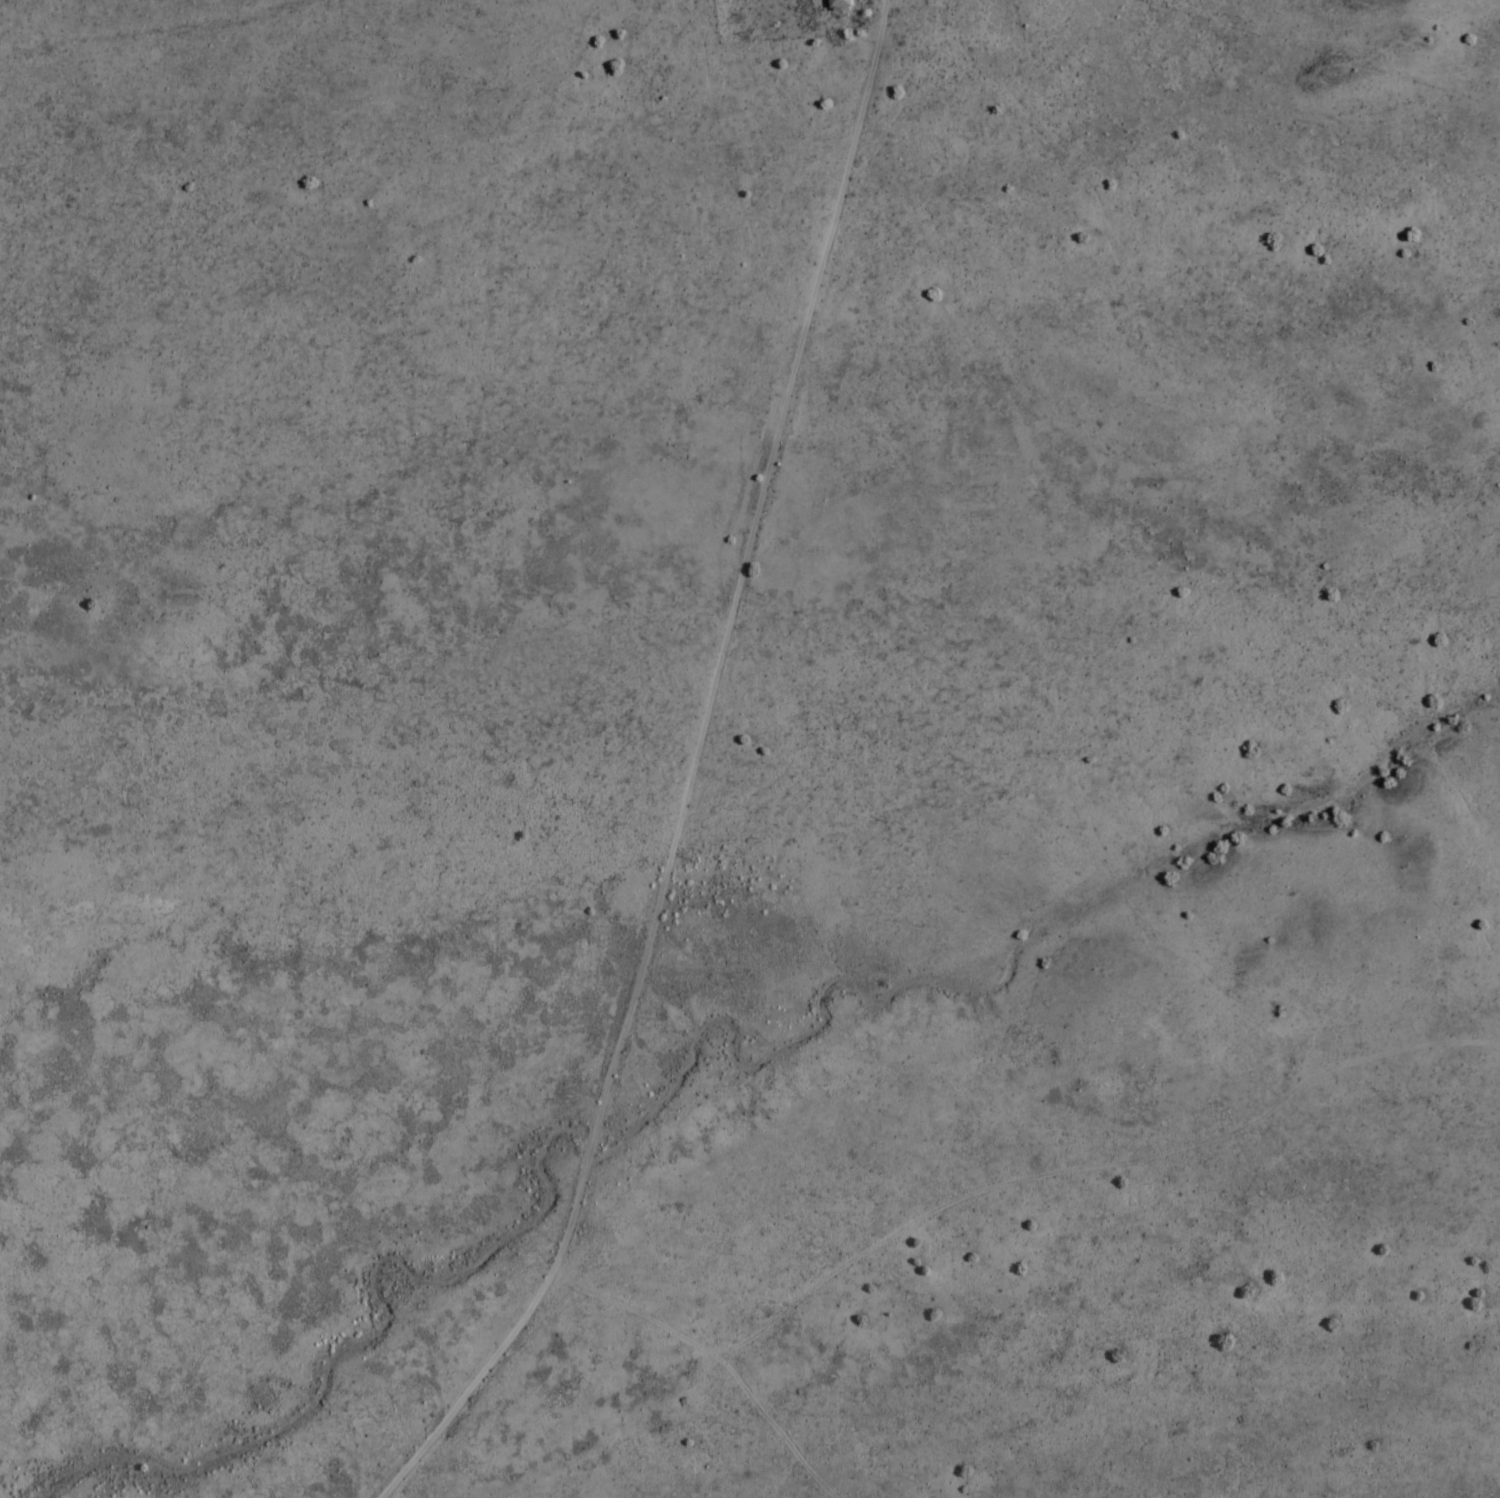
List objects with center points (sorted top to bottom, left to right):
building: (846, 2)
road: (670, 48)
road: (202, 57)
road: (804, 358)
road: (845, 1261)

